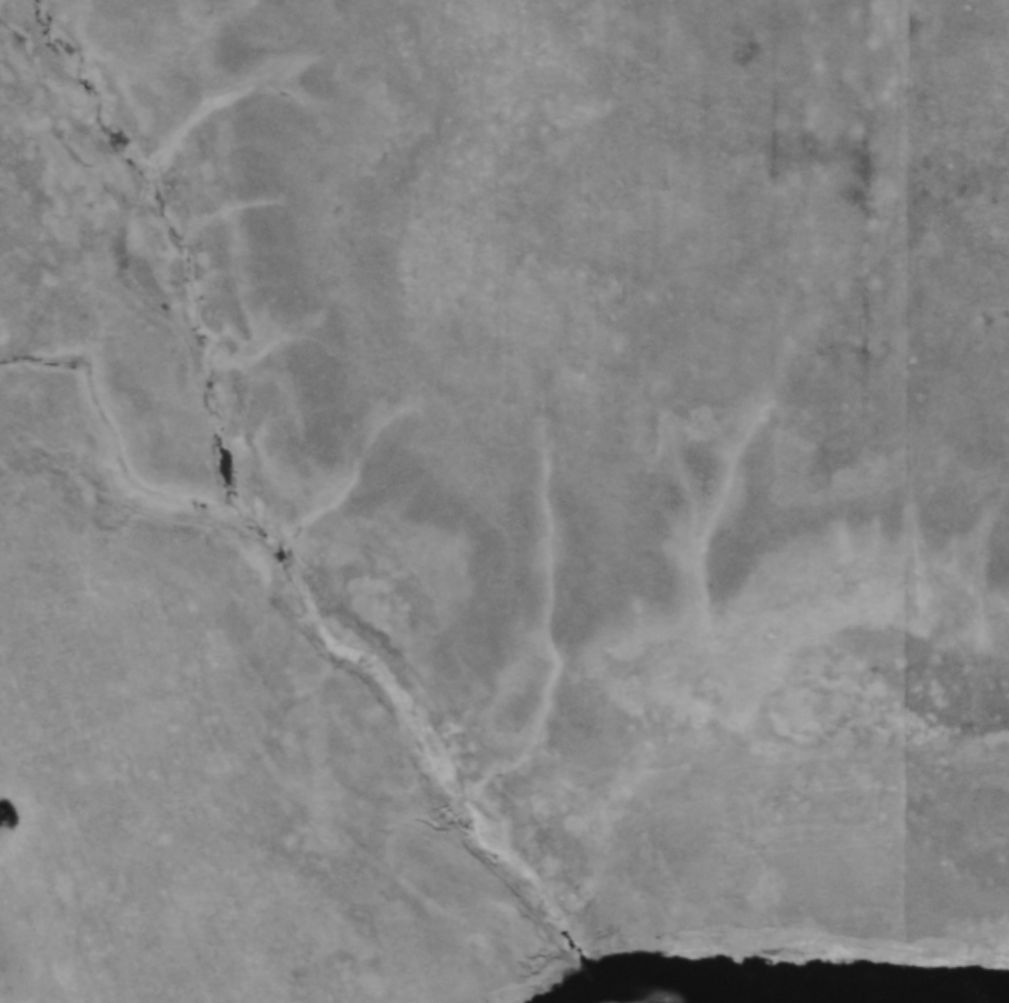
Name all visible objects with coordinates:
river: (723, 982)

